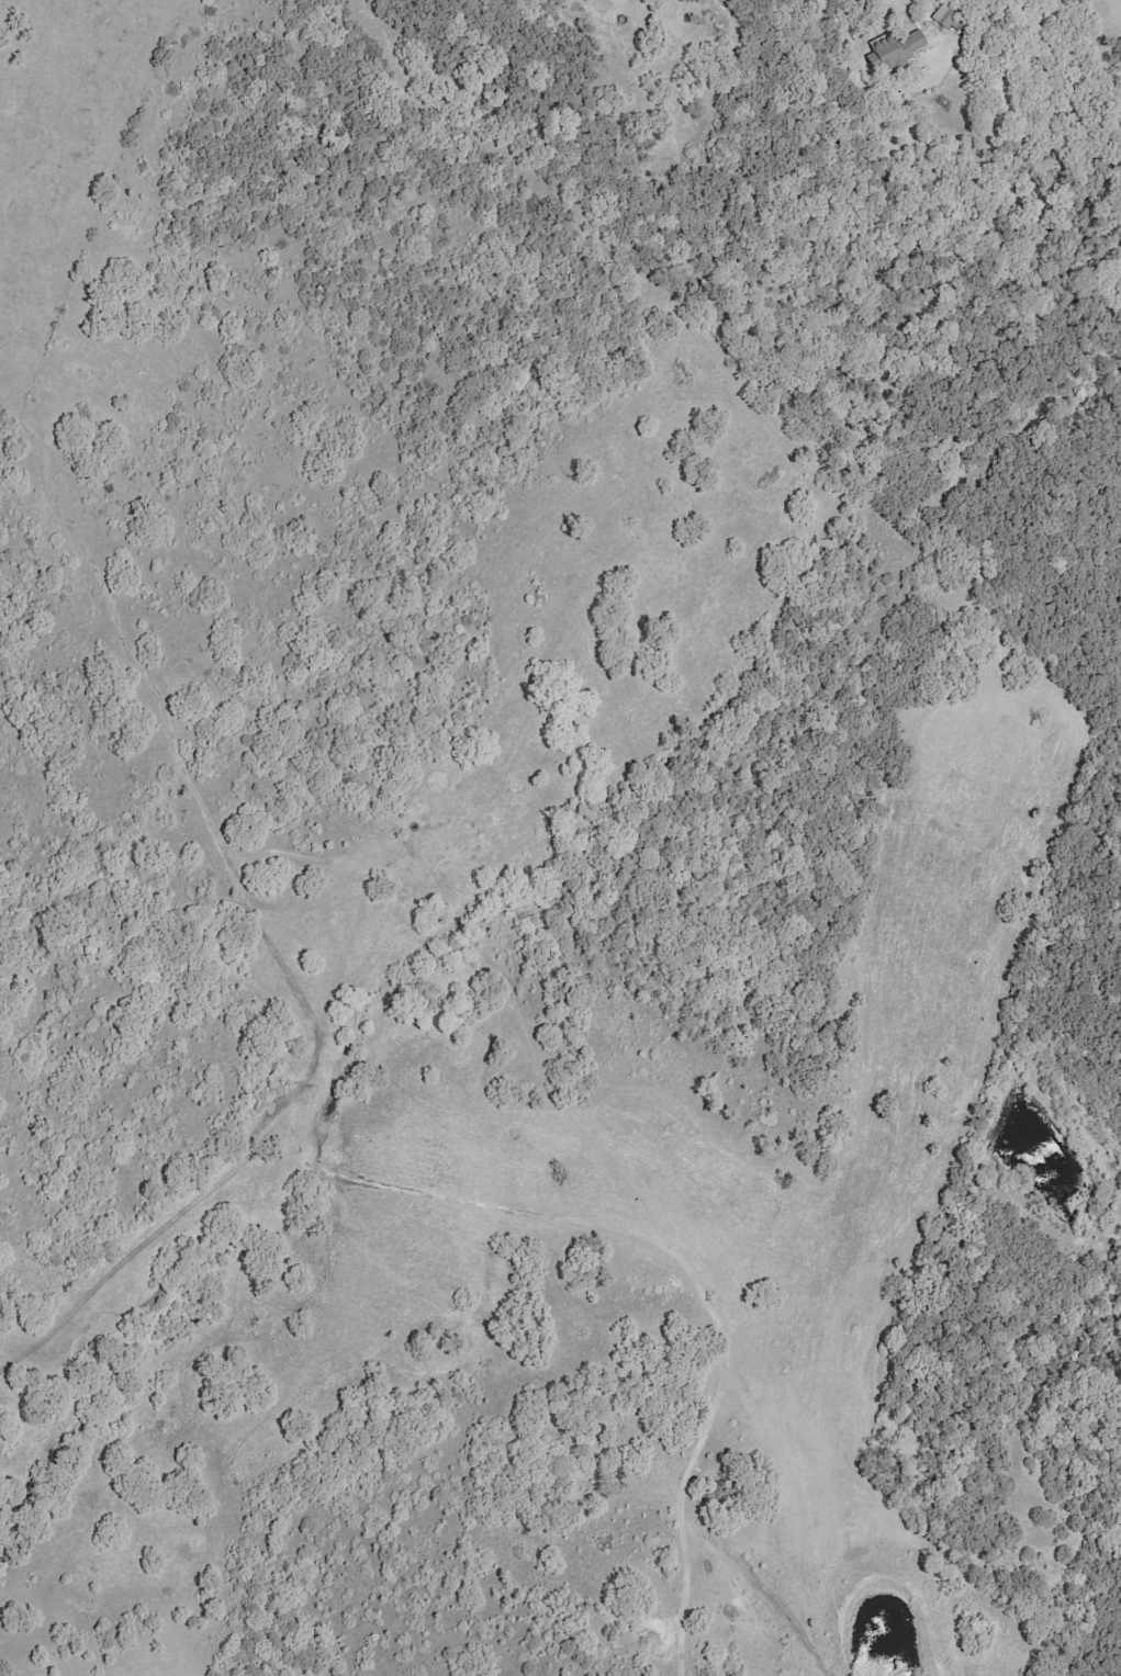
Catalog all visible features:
road: (908, 1)
building: (943, 16)
building: (898, 48)

